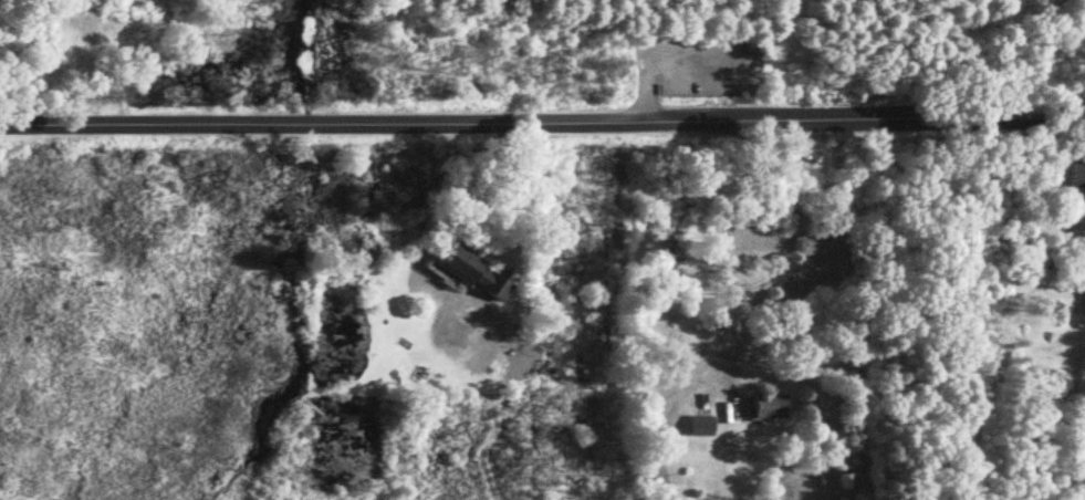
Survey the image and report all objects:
road: (542, 121)
building: (1076, 174)
road: (517, 191)
building: (469, 269)
road: (753, 310)
building: (769, 403)
building: (700, 424)

